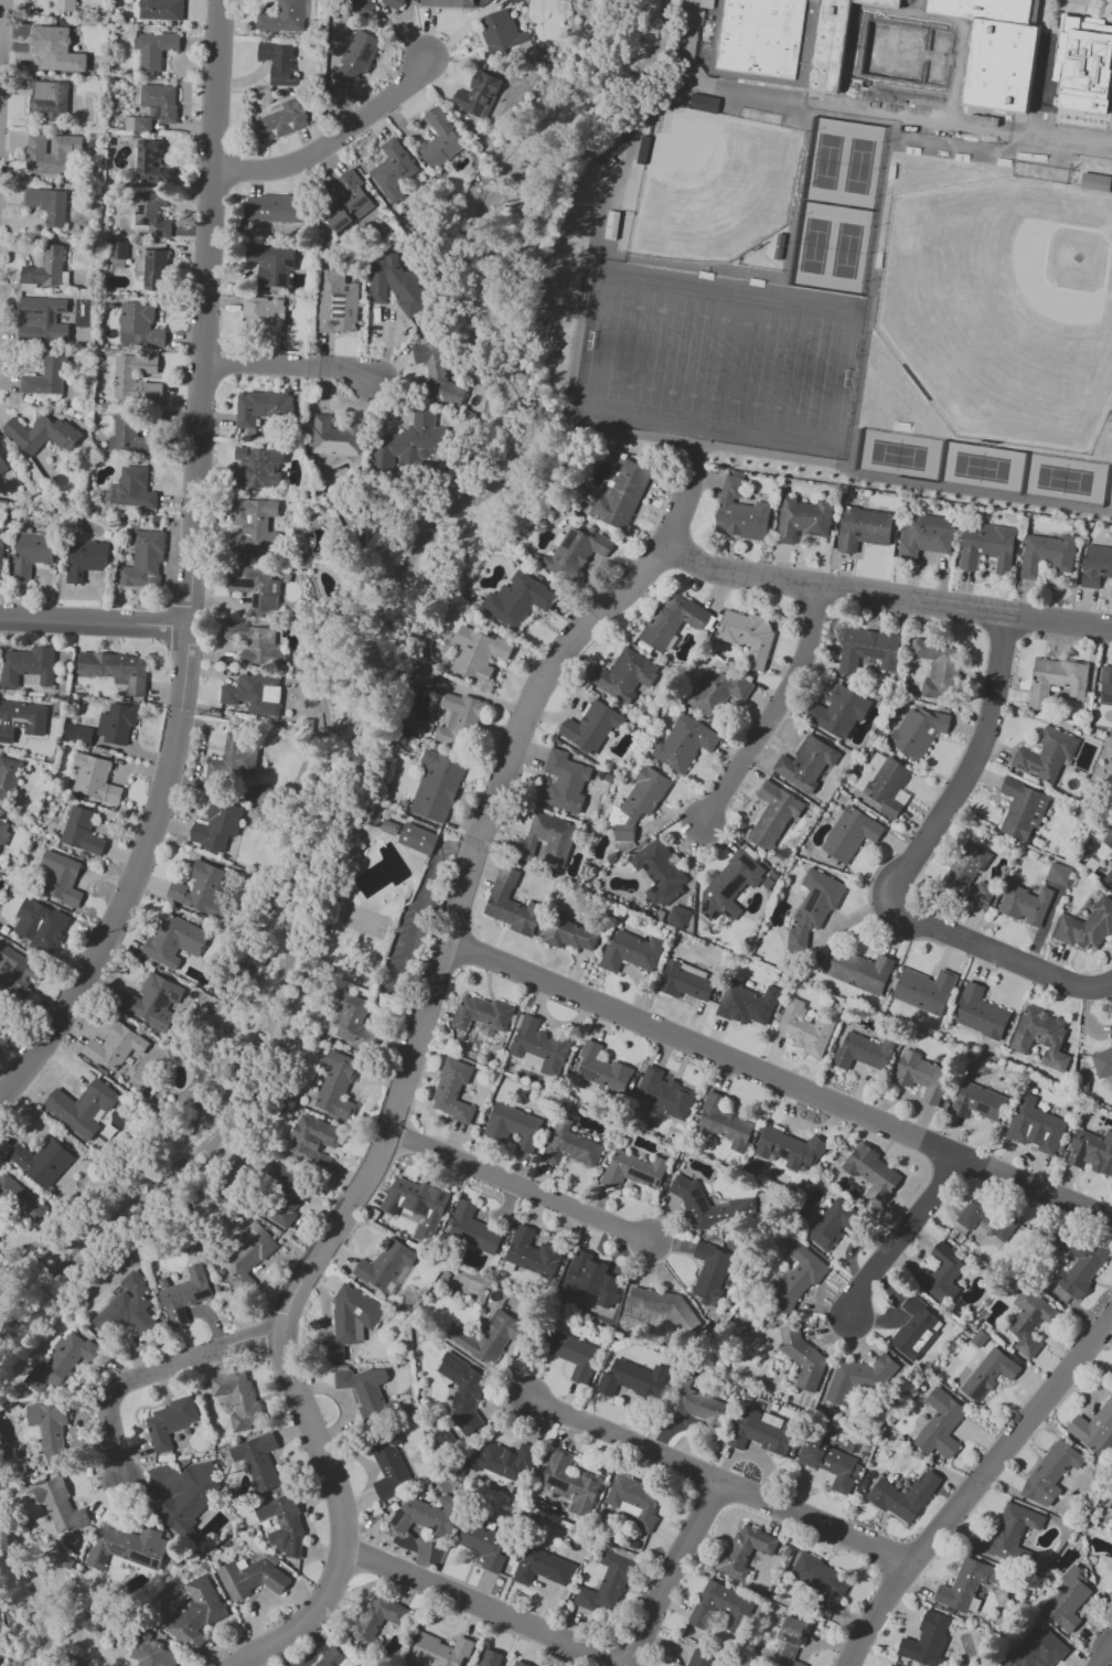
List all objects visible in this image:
building: (512, 1)
building: (885, 1)
building: (367, 2)
building: (397, 2)
building: (450, 2)
building: (706, 3)
building: (66, 4)
building: (162, 9)
building: (984, 9)
building: (282, 19)
road: (1, 21)
building: (503, 31)
building: (761, 36)
building: (830, 45)
building: (154, 49)
building: (57, 51)
building: (275, 56)
building: (359, 56)
building: (1001, 66)
building: (1082, 66)
building: (478, 94)
building: (50, 97)
building: (159, 103)
building: (281, 121)
park: (847, 122)
park: (909, 130)
building: (440, 138)
park: (972, 139)
road: (334, 140)
building: (55, 154)
park: (825, 160)
building: (154, 162)
park: (858, 165)
building: (394, 169)
building: (1094, 181)
park: (709, 182)
building: (350, 201)
building: (50, 205)
building: (271, 207)
rooftop solar panel: (142, 211)
building: (149, 214)
rooftop solar panel: (145, 220)
building: (610, 224)
rooftop solar panel: (158, 233)
park: (813, 245)
park: (845, 249)
building: (119, 252)
rooftop solar panel: (255, 257)
rooftop solar panel: (150, 258)
rooftop solar panel: (272, 258)
building: (272, 265)
rooftop solar panel: (146, 267)
building: (46, 268)
building: (159, 270)
building: (400, 285)
rooftop solar panel: (339, 293)
building: (338, 303)
rooftop solar panel: (339, 303)
rooftop solar panel: (338, 308)
park: (1004, 308)
rooftop solar panel: (338, 313)
building: (41, 318)
building: (265, 318)
rooftop solar panel: (333, 321)
building: (140, 327)
park: (719, 359)
road: (292, 367)
building: (47, 376)
building: (438, 377)
building: (132, 378)
building: (261, 405)
building: (297, 406)
building: (32, 432)
building: (419, 435)
building: (131, 436)
building: (338, 437)
park: (897, 453)
rooftop solar panel: (272, 459)
building: (3, 464)
building: (260, 466)
park: (980, 467)
rooftop solar panel: (246, 469)
park: (1062, 479)
rooftop solar panel: (244, 480)
building: (135, 487)
building: (622, 492)
building: (740, 514)
building: (803, 519)
building: (254, 523)
building: (865, 528)
building: (926, 538)
building: (986, 546)
building: (2, 551)
building: (32, 554)
building: (1049, 555)
building: (578, 556)
building: (149, 558)
building: (85, 559)
building: (1095, 566)
road: (192, 569)
building: (248, 584)
rooftop solar panel: (274, 586)
building: (275, 592)
road: (888, 595)
building: (521, 602)
road: (95, 620)
building: (672, 620)
building: (749, 637)
building: (254, 641)
building: (869, 652)
building: (478, 653)
rooftop solar panel: (874, 653)
building: (29, 665)
building: (935, 669)
building: (116, 670)
building: (426, 675)
building: (627, 676)
building: (1056, 679)
building: (1105, 684)
building: (716, 690)
building: (255, 694)
road: (777, 707)
building: (840, 712)
building: (460, 719)
building: (23, 720)
building: (118, 724)
building: (592, 728)
building: (918, 730)
building: (84, 735)
rooftop solar panel: (598, 736)
building: (684, 743)
building: (240, 752)
building: (1046, 754)
building: (806, 762)
rooftop solar panel: (1020, 766)
rooftop solar panel: (1034, 768)
rooftop solar panel: (1042, 770)
building: (10, 779)
building: (94, 779)
building: (566, 782)
building: (437, 786)
building: (889, 786)
building: (641, 800)
building: (1020, 808)
building: (774, 813)
building: (218, 825)
building: (389, 826)
building: (82, 832)
building: (849, 833)
building: (4, 834)
building: (1108, 836)
building: (418, 839)
building: (547, 839)
road: (919, 865)
building: (660, 873)
building: (969, 873)
building: (1057, 876)
building: (62, 877)
building: (1108, 877)
building: (200, 887)
building: (731, 887)
rooftop solar panel: (731, 887)
rooftop solar panel: (812, 900)
building: (1025, 903)
building: (813, 906)
building: (513, 907)
building: (677, 916)
building: (39, 921)
building: (1086, 925)
building: (571, 936)
building: (179, 949)
building: (634, 954)
building: (12, 960)
rooftop solar panel: (20, 968)
building: (858, 970)
building: (687, 982)
building: (923, 989)
road: (438, 998)
building: (153, 1001)
building: (748, 1004)
building: (0, 1006)
building: (979, 1012)
building: (481, 1013)
building: (353, 1018)
rooftop solar panel: (335, 1019)
building: (806, 1027)
building: (1040, 1036)
building: (538, 1046)
building: (114, 1047)
building: (863, 1050)
building: (1102, 1061)
building: (601, 1068)
rooftop solar panel: (595, 1077)
building: (924, 1077)
road: (783, 1080)
building: (336, 1085)
building: (451, 1091)
building: (981, 1102)
building: (82, 1107)
building: (724, 1121)
building: (512, 1125)
building: (1039, 1125)
building: (311, 1141)
building: (570, 1144)
rooftop solar panel: (776, 1147)
building: (789, 1149)
rooftop solar panel: (788, 1152)
building: (1092, 1154)
building: (41, 1161)
building: (633, 1170)
building: (872, 1174)
rooftop solar panel: (643, 1175)
road: (524, 1190)
building: (284, 1195)
rooftop solar panel: (441, 1196)
building: (21, 1200)
rooftop solar panel: (699, 1202)
building: (417, 1204)
rooftop solar panel: (423, 1206)
building: (712, 1206)
rooftop solar panel: (395, 1207)
building: (988, 1217)
building: (834, 1222)
building: (473, 1228)
road: (906, 1236)
building: (532, 1251)
building: (245, 1257)
building: (1078, 1264)
building: (386, 1265)
building: (709, 1272)
building: (941, 1274)
building: (590, 1279)
building: (798, 1279)
building: (185, 1294)
building: (661, 1305)
building: (127, 1309)
building: (350, 1320)
building: (1029, 1320)
building: (916, 1328)
building: (485, 1336)
building: (573, 1354)
building: (802, 1358)
building: (62, 1363)
road: (156, 1371)
building: (988, 1374)
building: (632, 1378)
building: (859, 1378)
building: (463, 1390)
building: (365, 1391)
rooftop solar panel: (979, 1393)
building: (239, 1399)
building: (696, 1403)
building: (169, 1422)
building: (940, 1424)
building: (1093, 1425)
building: (50, 1430)
building: (759, 1432)
building: (1105, 1445)
building: (258, 1460)
building: (502, 1460)
building: (831, 1464)
building: (389, 1465)
rooftop solar panel: (1038, 1466)
road: (726, 1469)
building: (1050, 1472)
rooftop solar panel: (556, 1481)
building: (569, 1482)
road: (971, 1484)
rooftop solar panel: (565, 1486)
building: (904, 1496)
building: (191, 1498)
building: (634, 1501)
building: (60, 1505)
building: (427, 1515)
building: (284, 1524)
rooftop solar panel: (1020, 1524)
building: (1007, 1531)
building: (484, 1545)
building: (128, 1546)
rooftop solar panel: (114, 1549)
building: (745, 1549)
rooftop solar panel: (154, 1556)
rooftop solar panel: (104, 1558)
rooftop solar panel: (142, 1559)
rooftop solar panel: (157, 1563)
building: (542, 1567)
road: (683, 1568)
building: (1104, 1572)
building: (249, 1577)
building: (821, 1580)
building: (607, 1581)
building: (965, 1584)
building: (1067, 1599)
building: (720, 1606)
road: (481, 1608)
building: (197, 1612)
parking lot: (1, 1614)
building: (375, 1617)
road: (306, 1622)
building: (927, 1640)
rooftop solar panel: (792, 1641)
building: (788, 1643)
building: (1036, 1648)
building: (438, 1652)
building: (149, 1653)
building: (490, 1657)
building: (333, 1658)
building: (701, 1658)
building: (520, 1663)
building: (891, 1665)
road: (1111, 1665)

